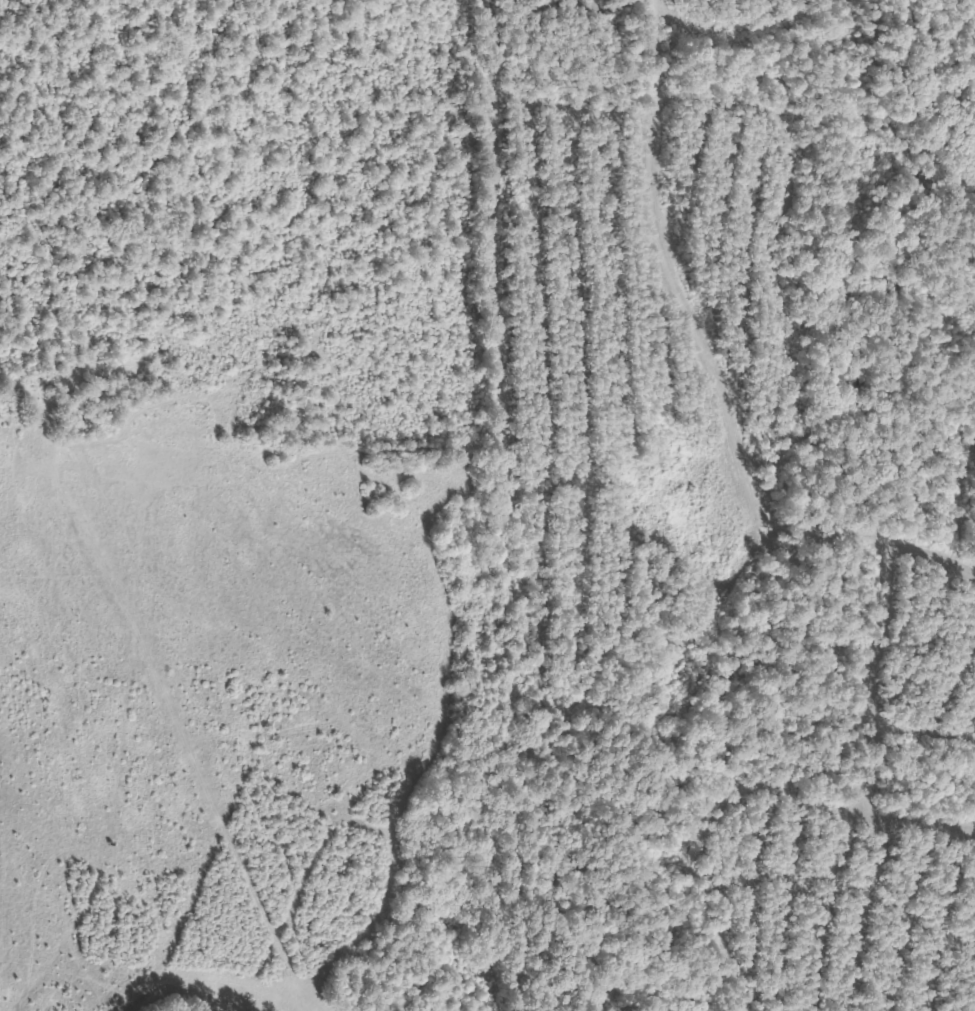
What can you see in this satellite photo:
road: (698, 301)

